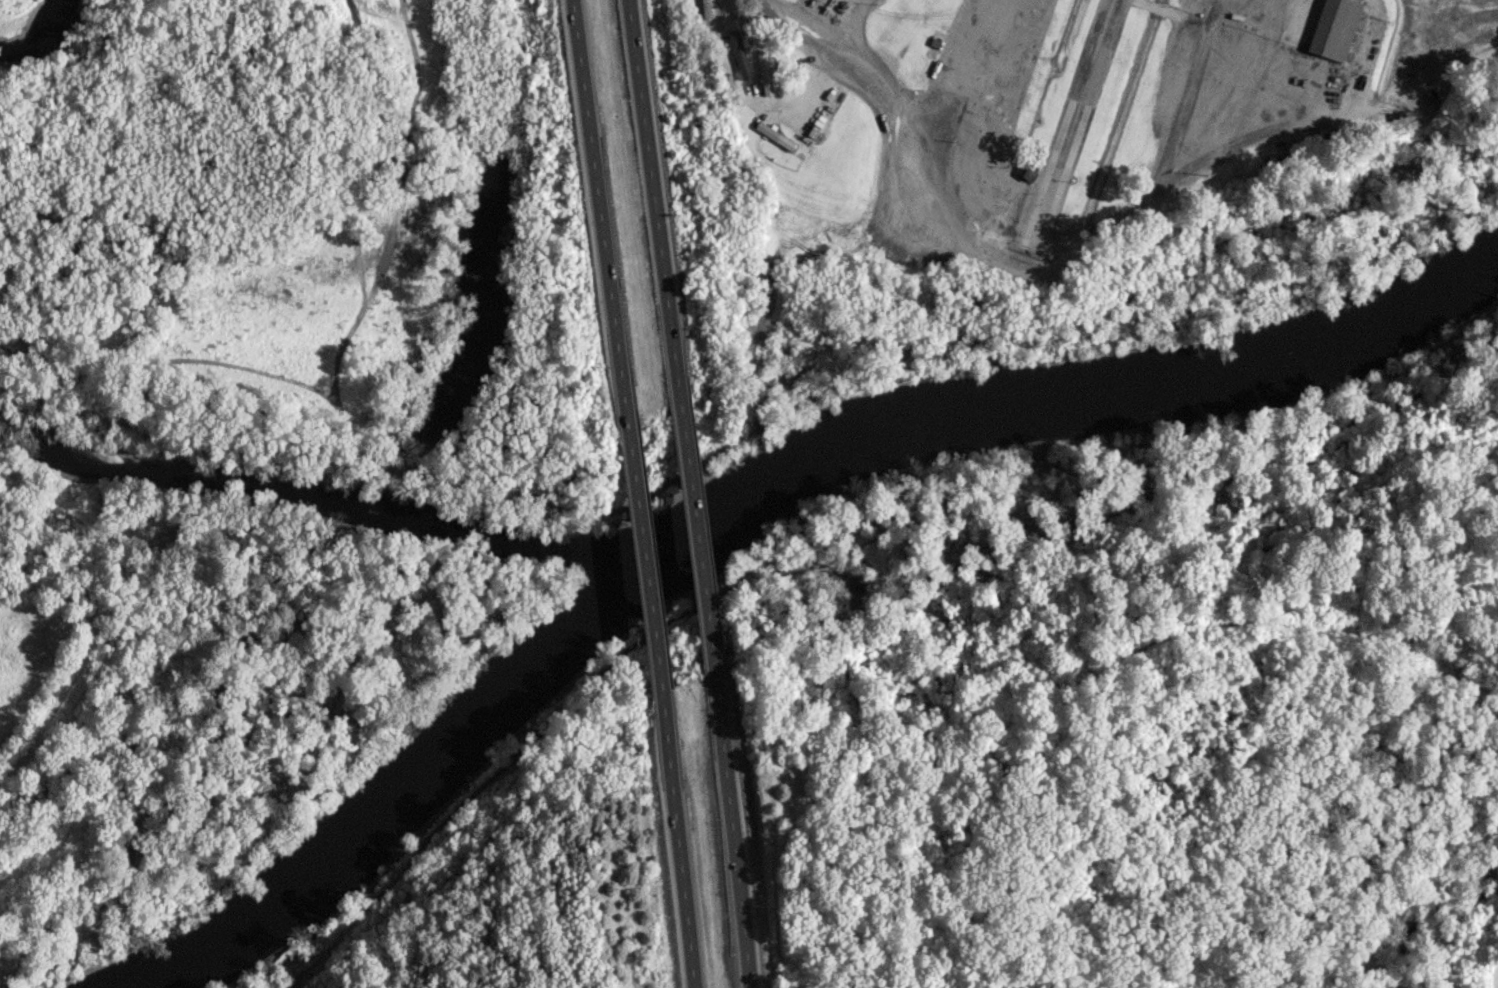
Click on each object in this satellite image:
building: (708, 8)
river: (43, 32)
building: (738, 54)
building: (763, 72)
building: (774, 135)
road: (652, 199)
road: (598, 216)
road: (1008, 262)
river: (319, 501)
road: (694, 530)
road: (643, 562)
road: (731, 824)
road: (677, 839)

